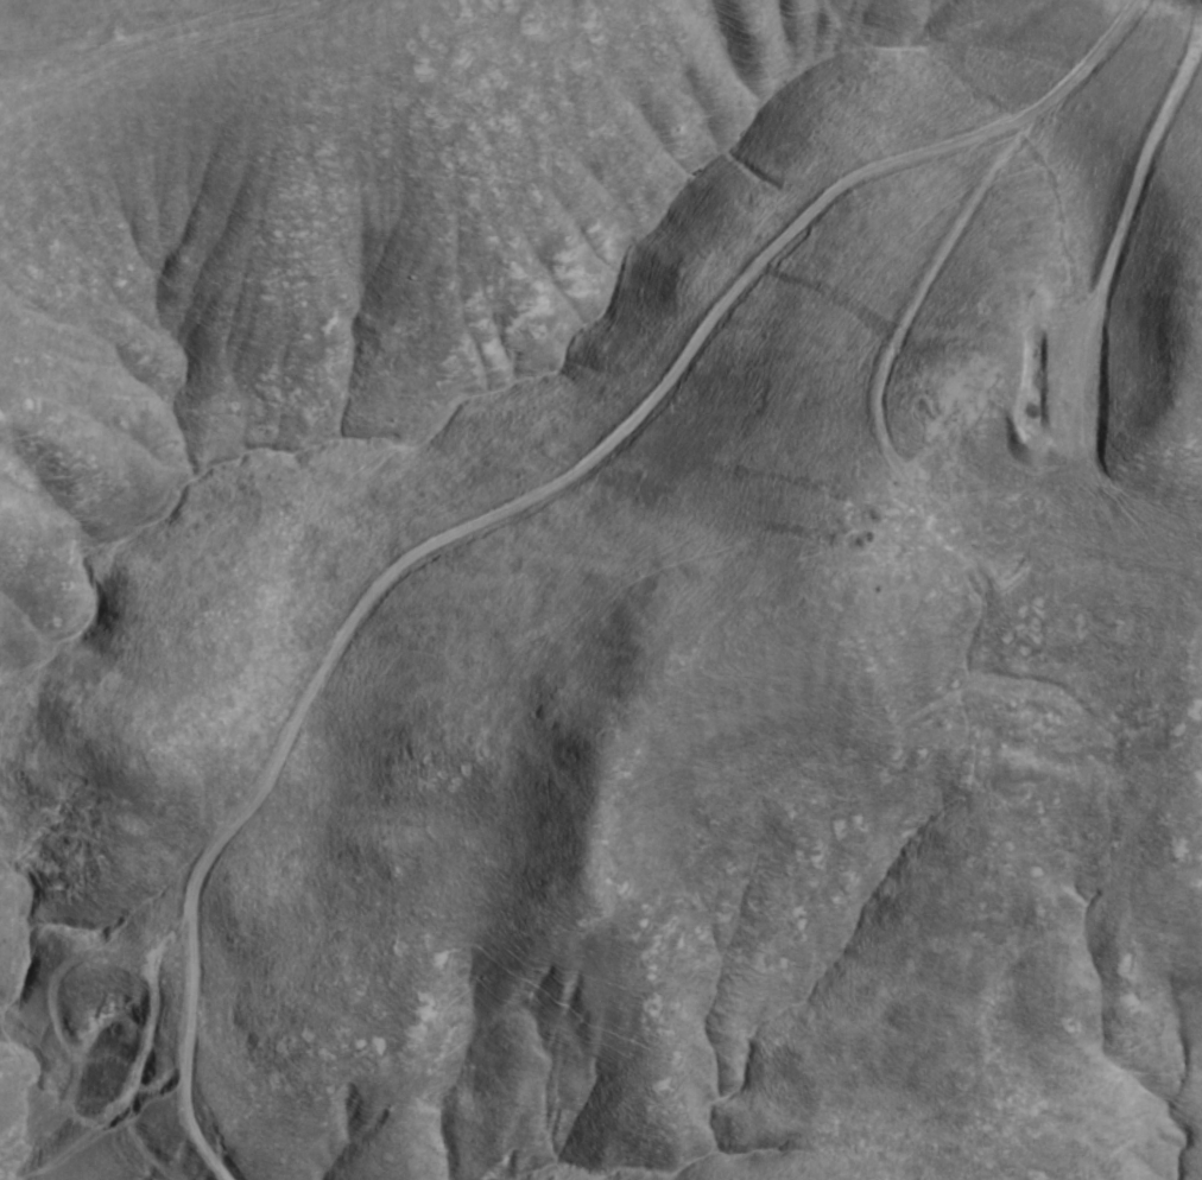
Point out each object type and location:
road: (553, 533)

